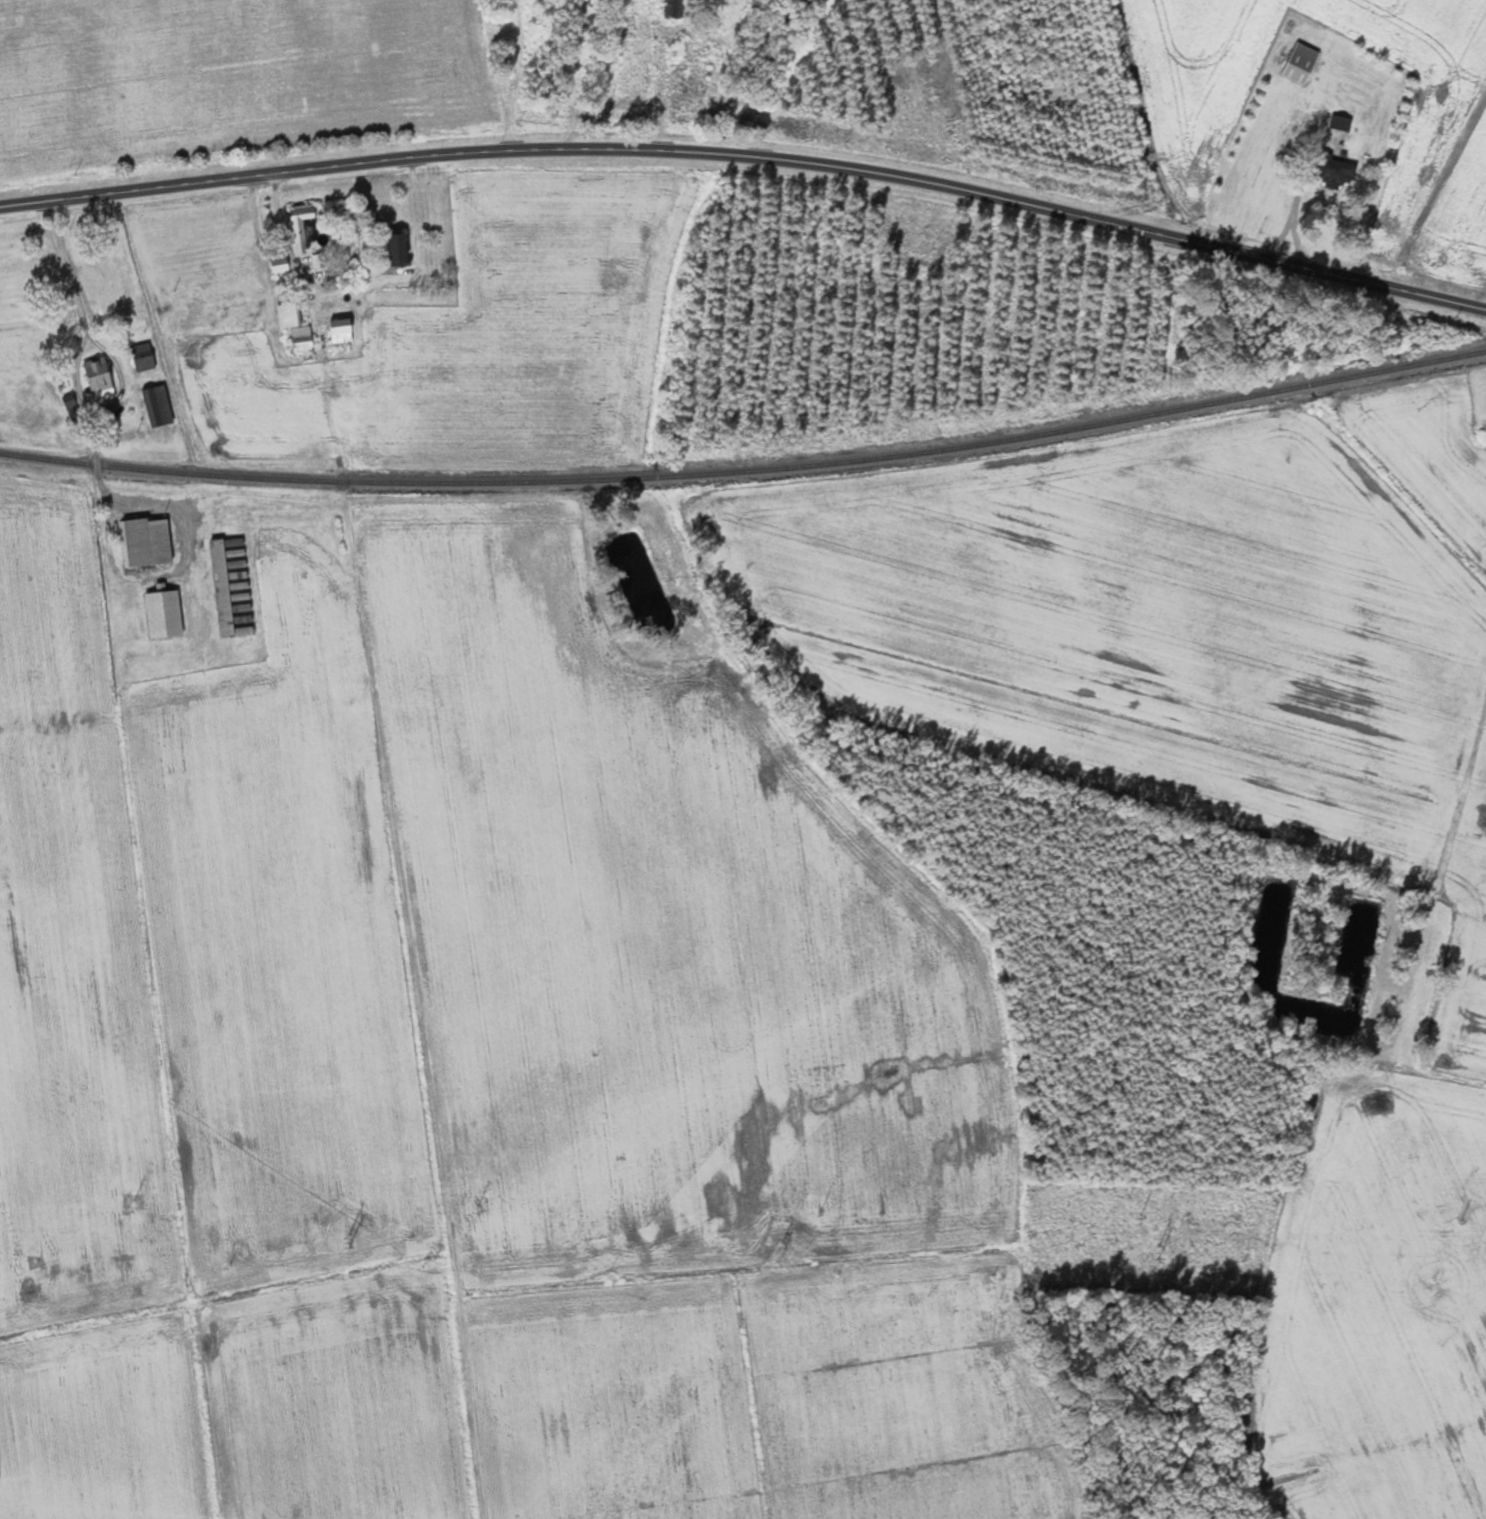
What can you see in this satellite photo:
building: (671, 9)
building: (1299, 63)
building: (1338, 123)
road: (749, 158)
building: (1333, 171)
building: (300, 226)
building: (395, 249)
building: (276, 258)
building: (316, 260)
building: (233, 296)
building: (293, 328)
building: (338, 330)
building: (141, 356)
building: (97, 377)
building: (337, 387)
building: (155, 405)
railway: (747, 470)
building: (145, 541)
building: (219, 586)
building: (161, 613)
building: (345, 689)
power tower: (344, 1239)
power tower: (780, 1244)
power tower: (1154, 1252)

